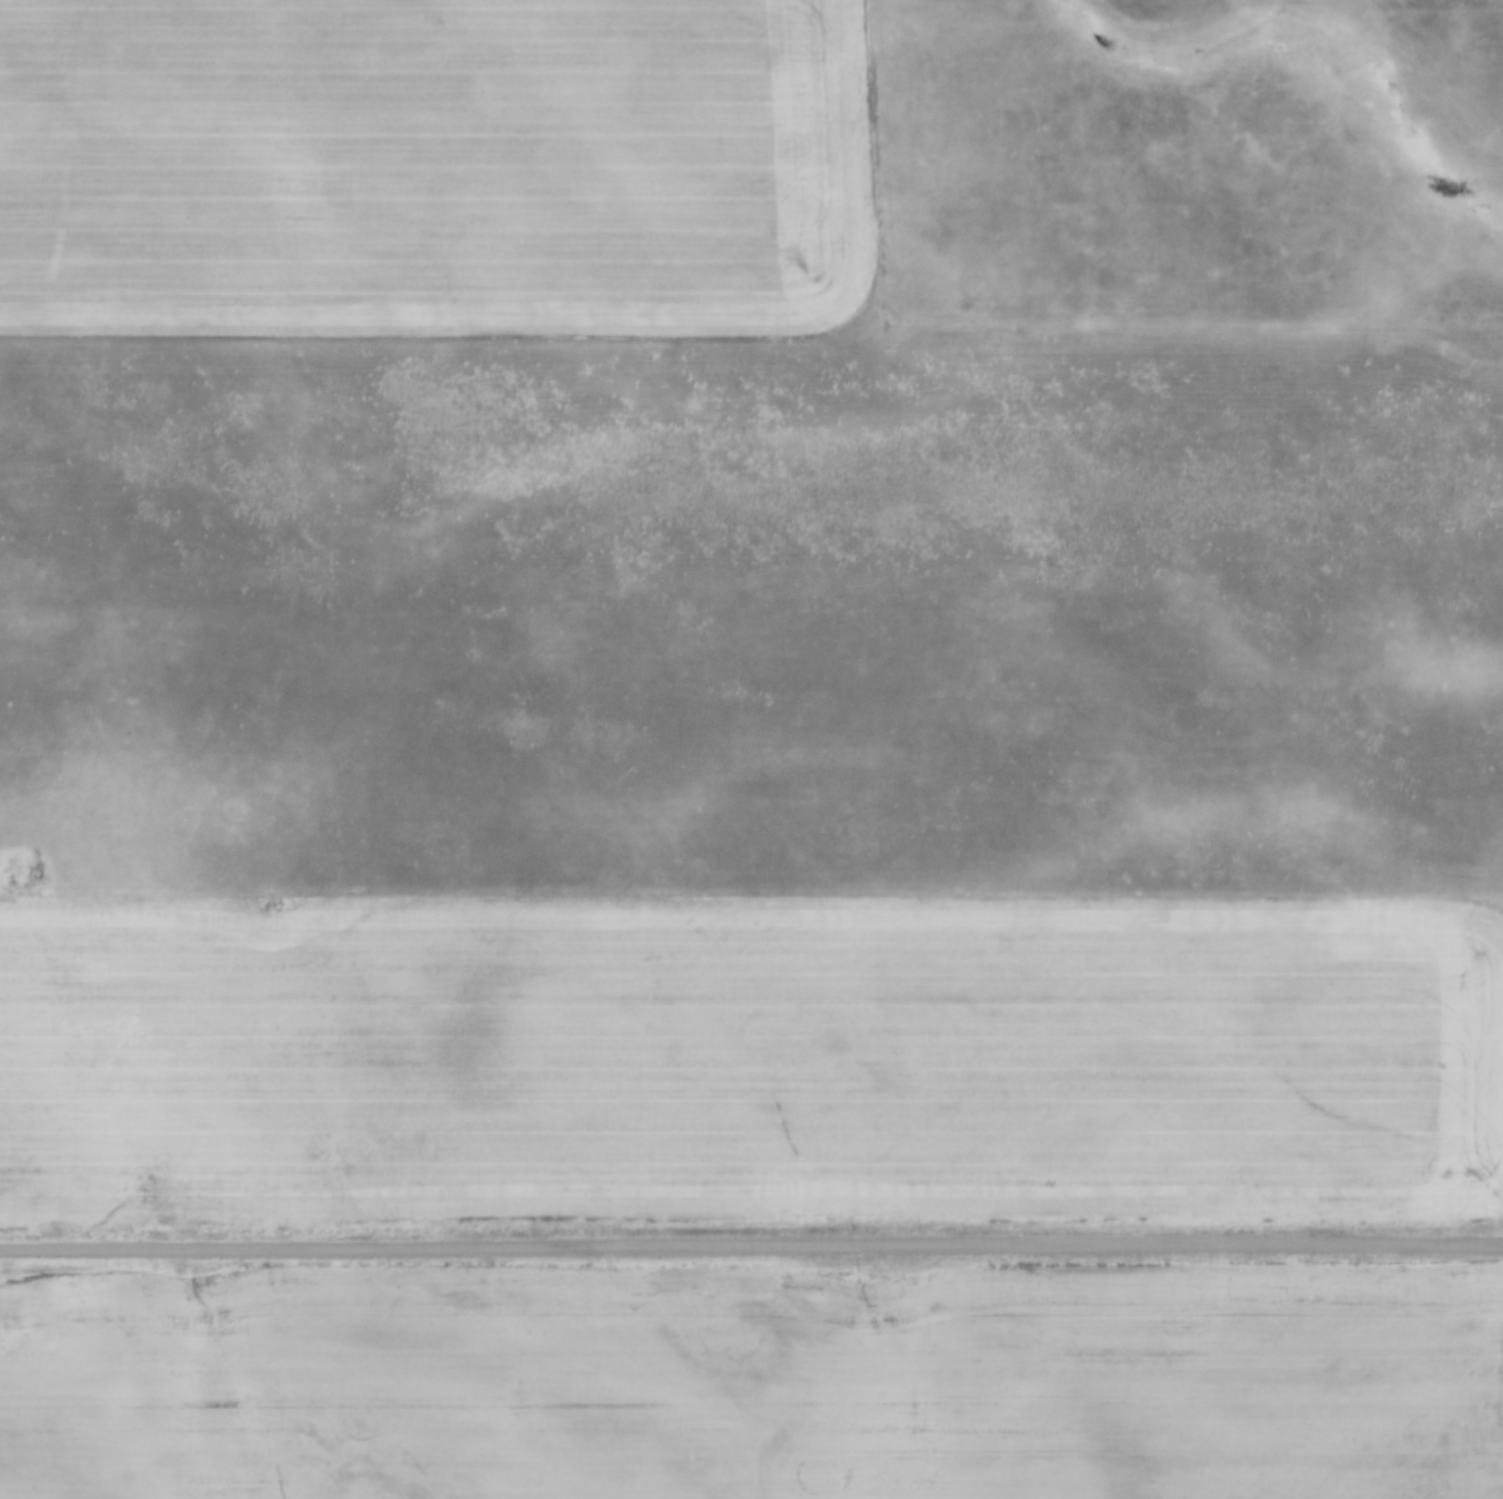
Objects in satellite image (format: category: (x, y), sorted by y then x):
road: (751, 1251)

